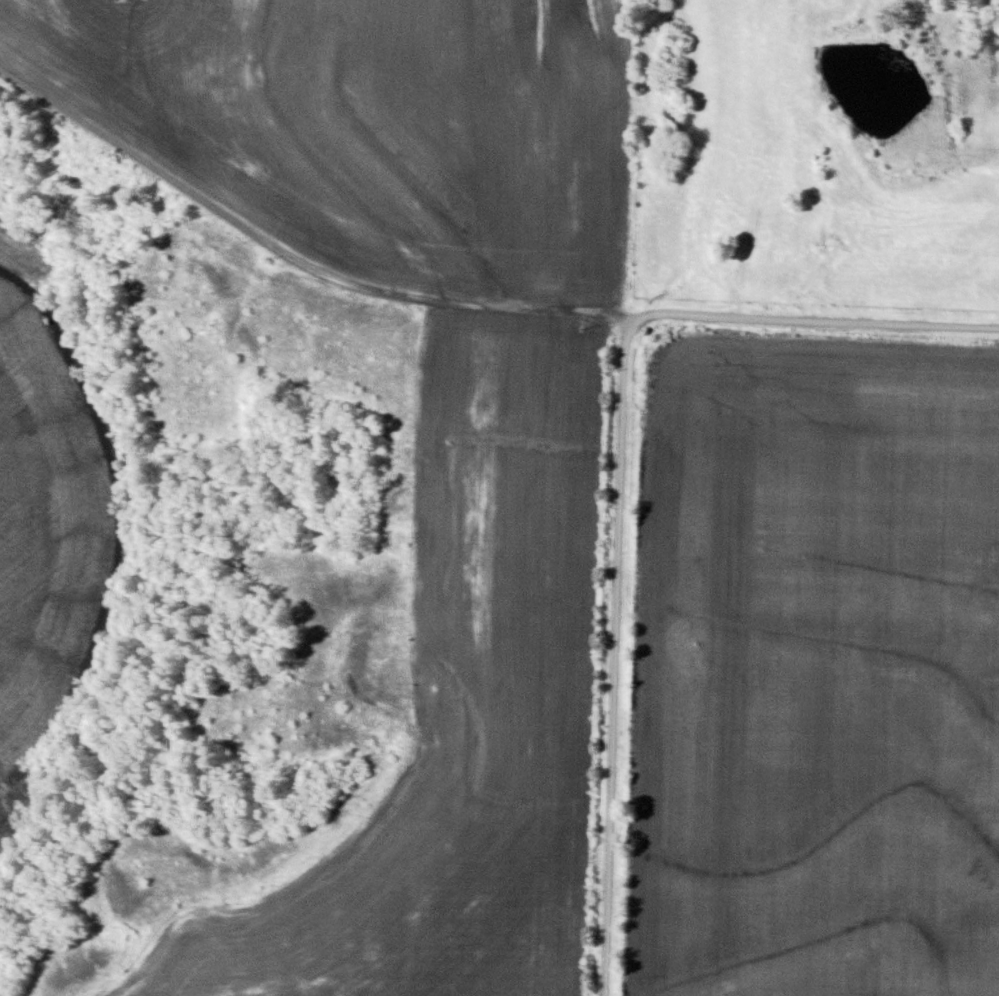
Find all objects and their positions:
road: (291, 258)
road: (814, 319)
crop: (48, 504)
road: (613, 656)

